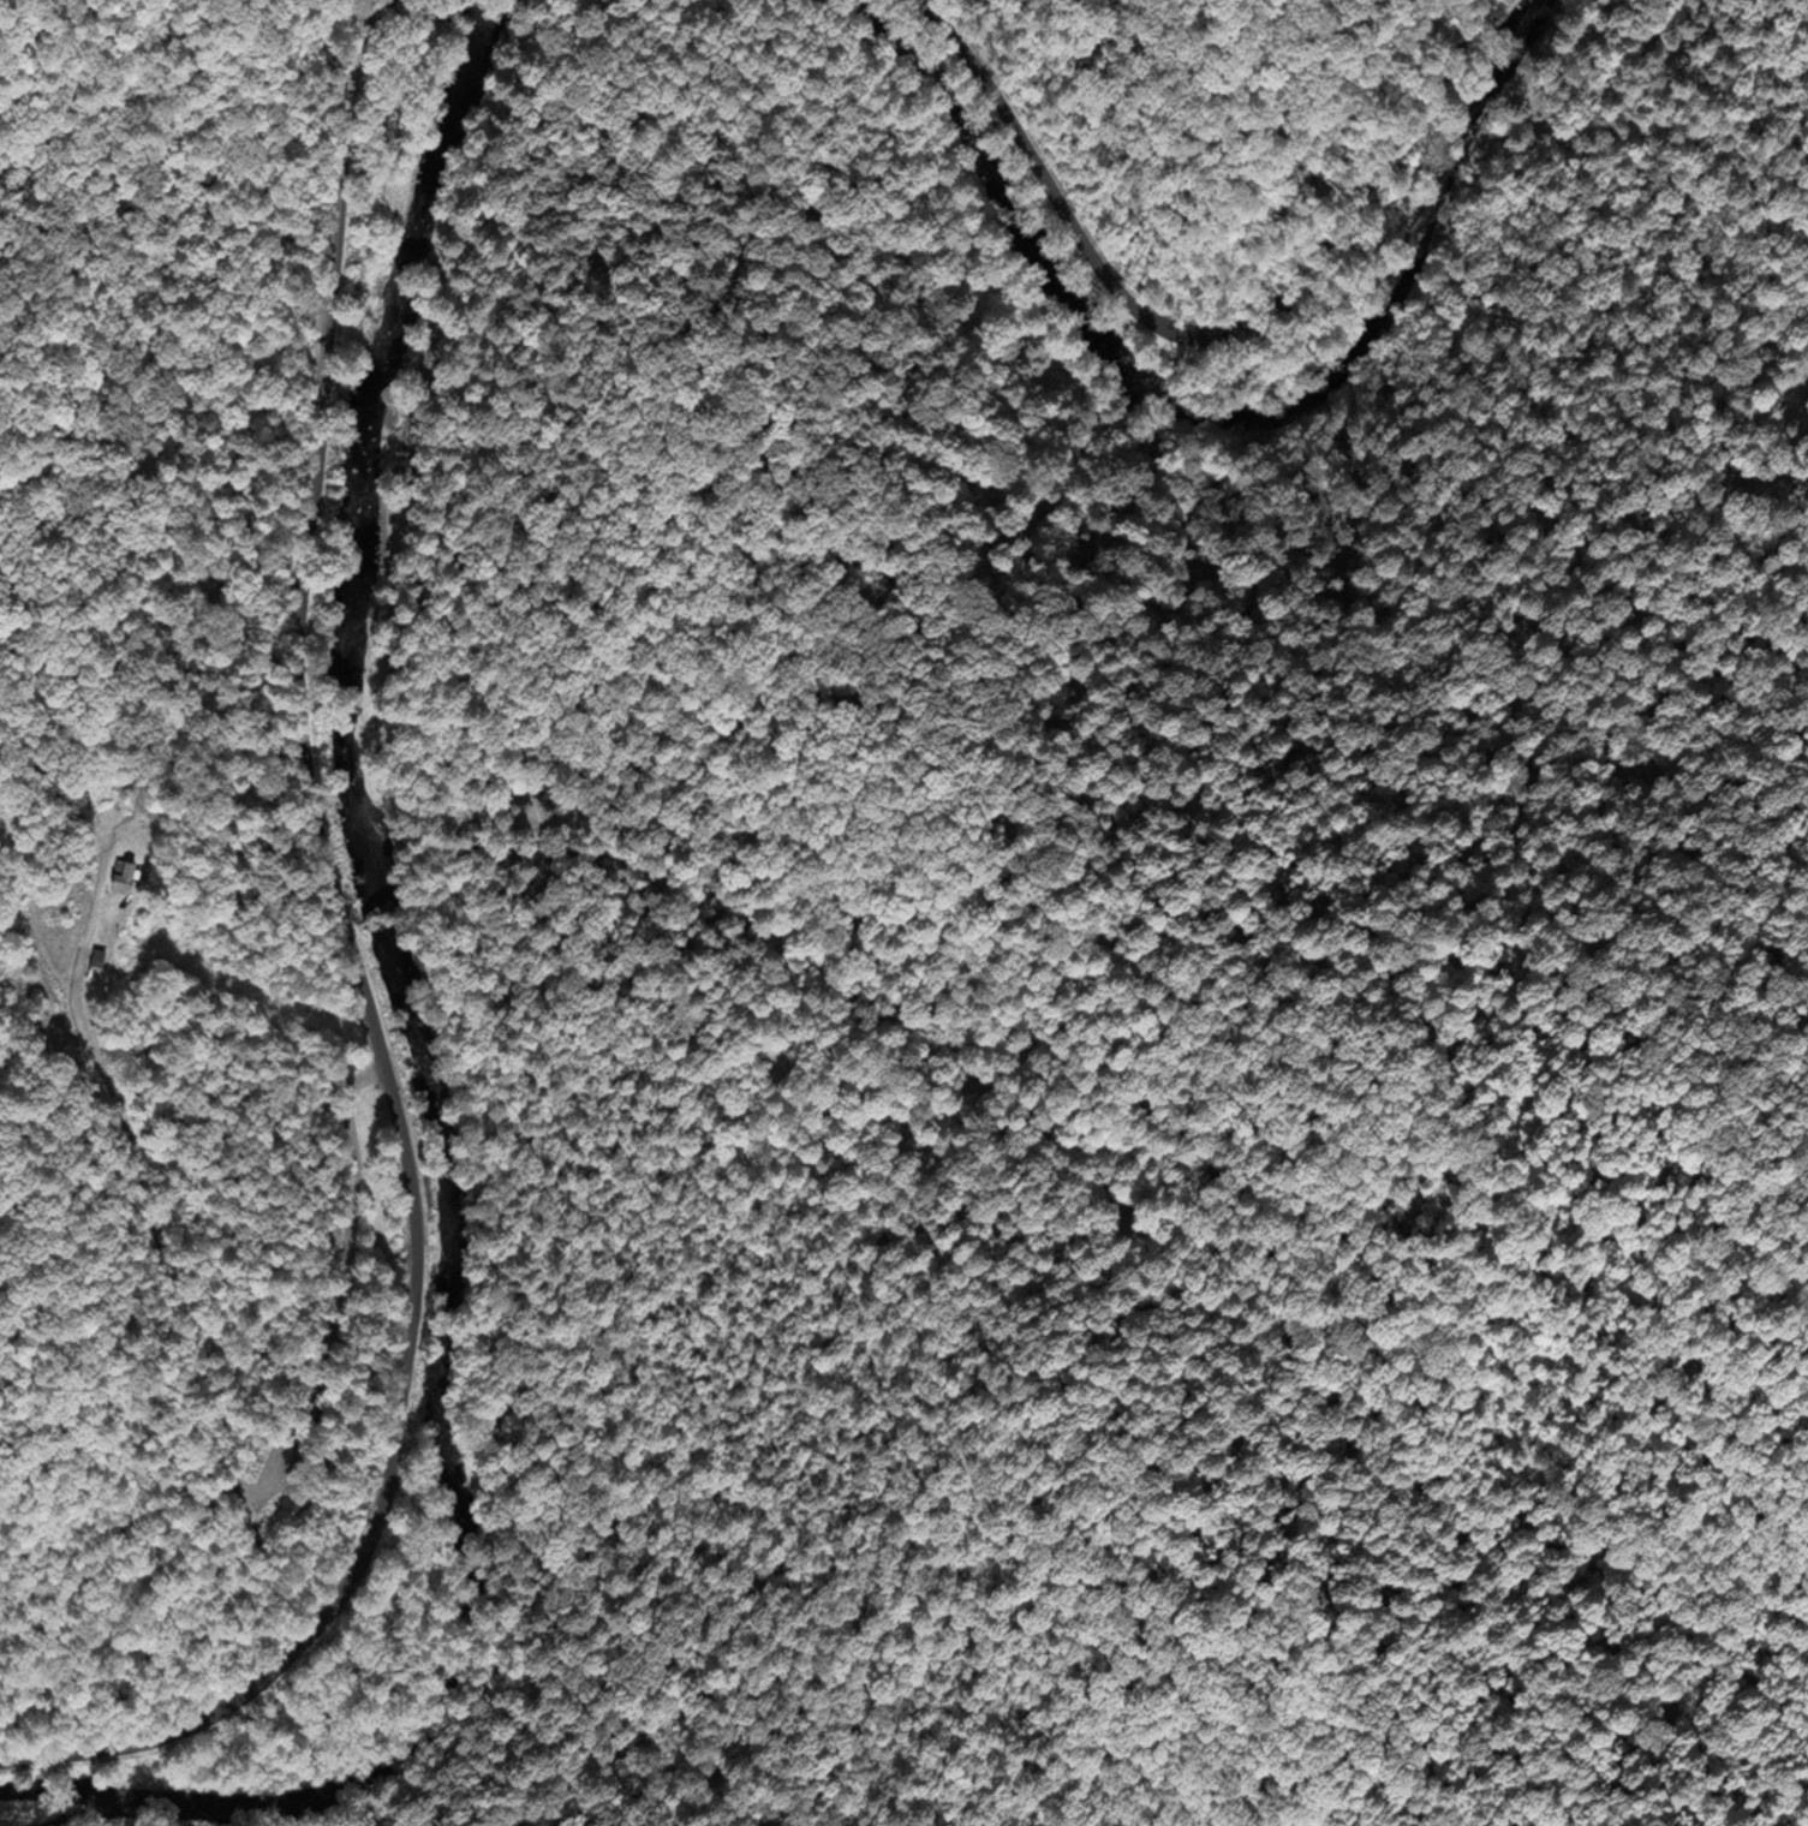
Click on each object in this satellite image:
road: (1033, 165)
road: (1353, 216)
building: (118, 875)
road: (372, 996)
road: (237, 1437)

